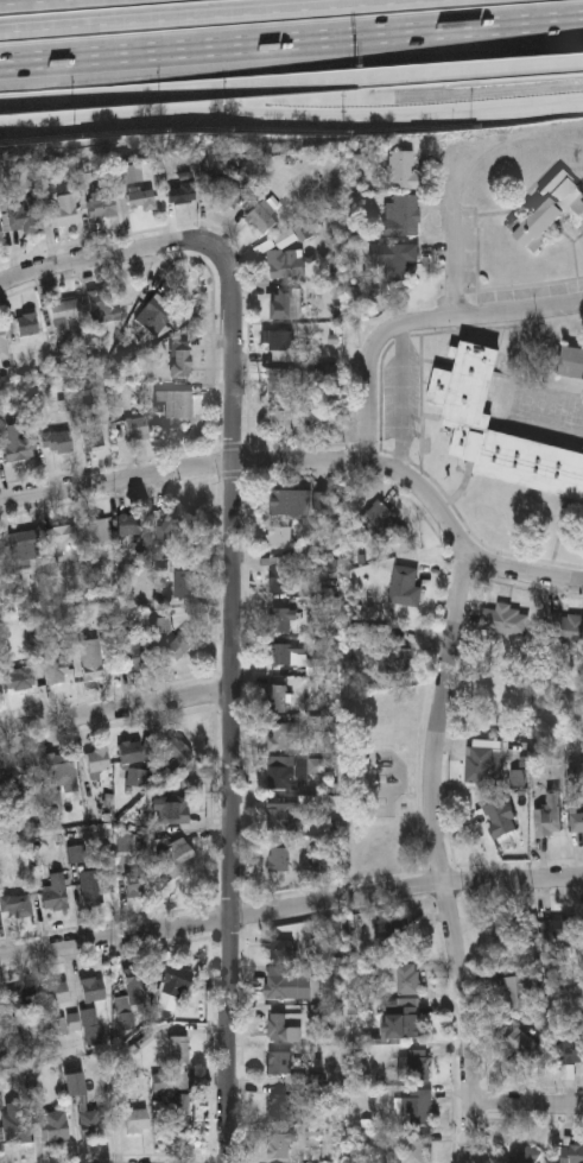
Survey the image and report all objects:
road: (215, 15)
road: (291, 40)
road: (291, 81)
road: (291, 114)
building: (403, 169)
building: (128, 172)
building: (226, 192)
building: (182, 194)
building: (140, 198)
building: (103, 204)
building: (64, 210)
building: (550, 213)
building: (403, 214)
building: (25, 219)
building: (262, 219)
building: (1, 235)
road: (455, 235)
building: (286, 238)
road: (107, 257)
building: (393, 260)
building: (285, 264)
building: (107, 304)
building: (286, 304)
building: (64, 311)
building: (157, 314)
building: (27, 324)
road: (419, 325)
building: (281, 341)
building: (2, 343)
building: (182, 362)
building: (572, 366)
building: (281, 383)
road: (399, 402)
building: (178, 404)
building: (281, 419)
building: (464, 422)
building: (137, 428)
building: (93, 436)
building: (57, 442)
building: (15, 444)
road: (182, 469)
building: (284, 503)
building: (133, 524)
building: (183, 524)
building: (380, 524)
building: (97, 530)
building: (62, 537)
building: (280, 537)
building: (25, 544)
road: (461, 545)
building: (280, 577)
building: (182, 584)
building: (405, 587)
building: (283, 620)
building: (500, 621)
building: (562, 628)
building: (180, 645)
building: (138, 650)
building: (287, 656)
building: (394, 657)
building: (91, 658)
building: (55, 671)
building: (21, 678)
road: (232, 702)
building: (280, 702)
road: (115, 710)
building: (281, 738)
building: (131, 751)
building: (175, 759)
building: (99, 760)
building: (58, 761)
building: (480, 767)
building: (21, 773)
building: (138, 777)
building: (283, 779)
building: (175, 809)
building: (546, 814)
building: (279, 818)
building: (500, 818)
building: (576, 823)
road: (436, 857)
building: (176, 858)
building: (278, 859)
building: (138, 883)
building: (91, 887)
building: (56, 892)
building: (15, 904)
road: (290, 910)
building: (582, 927)
building: (507, 935)
building: (558, 935)
building: (394, 937)
building: (407, 980)
building: (176, 981)
building: (291, 984)
building: (94, 988)
building: (517, 992)
building: (23, 997)
building: (133, 1000)
building: (59, 1010)
building: (404, 1024)
building: (280, 1030)
building: (524, 1048)
building: (180, 1049)
building: (570, 1053)
building: (279, 1063)
building: (416, 1070)
building: (82, 1105)
road: (527, 1106)
building: (179, 1112)
building: (279, 1112)
building: (416, 1112)
building: (137, 1120)
building: (55, 1125)
building: (15, 1133)
building: (279, 1148)
building: (414, 1150)
building: (571, 1155)
building: (528, 1156)

